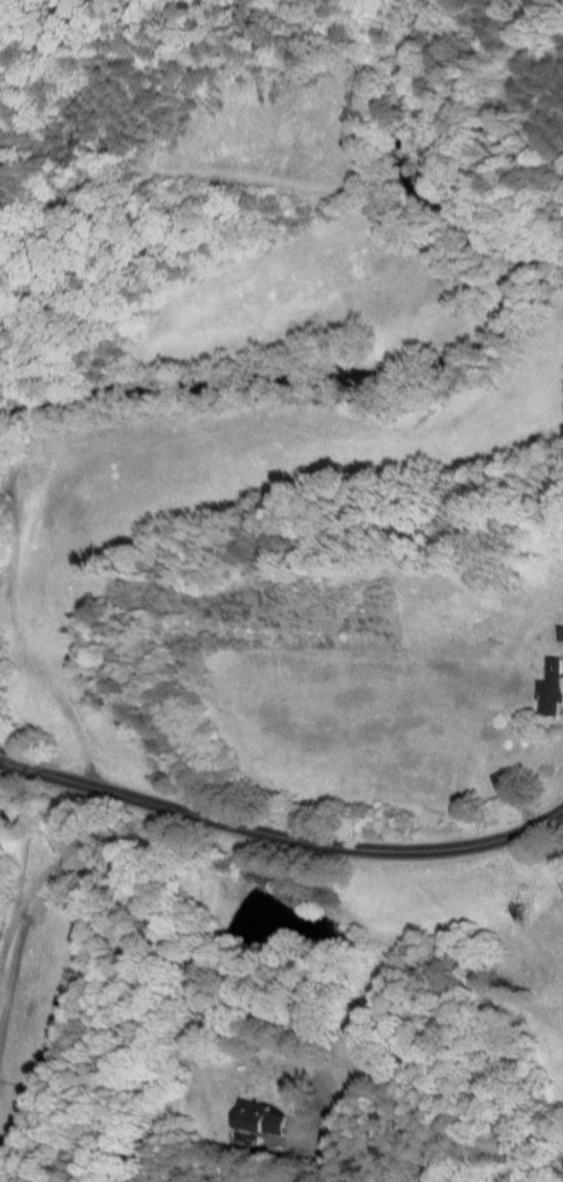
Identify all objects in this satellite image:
building: (561, 633)
building: (533, 681)
building: (551, 689)
road: (12, 763)
building: (509, 782)
road: (292, 839)
road: (201, 976)
building: (258, 1115)

